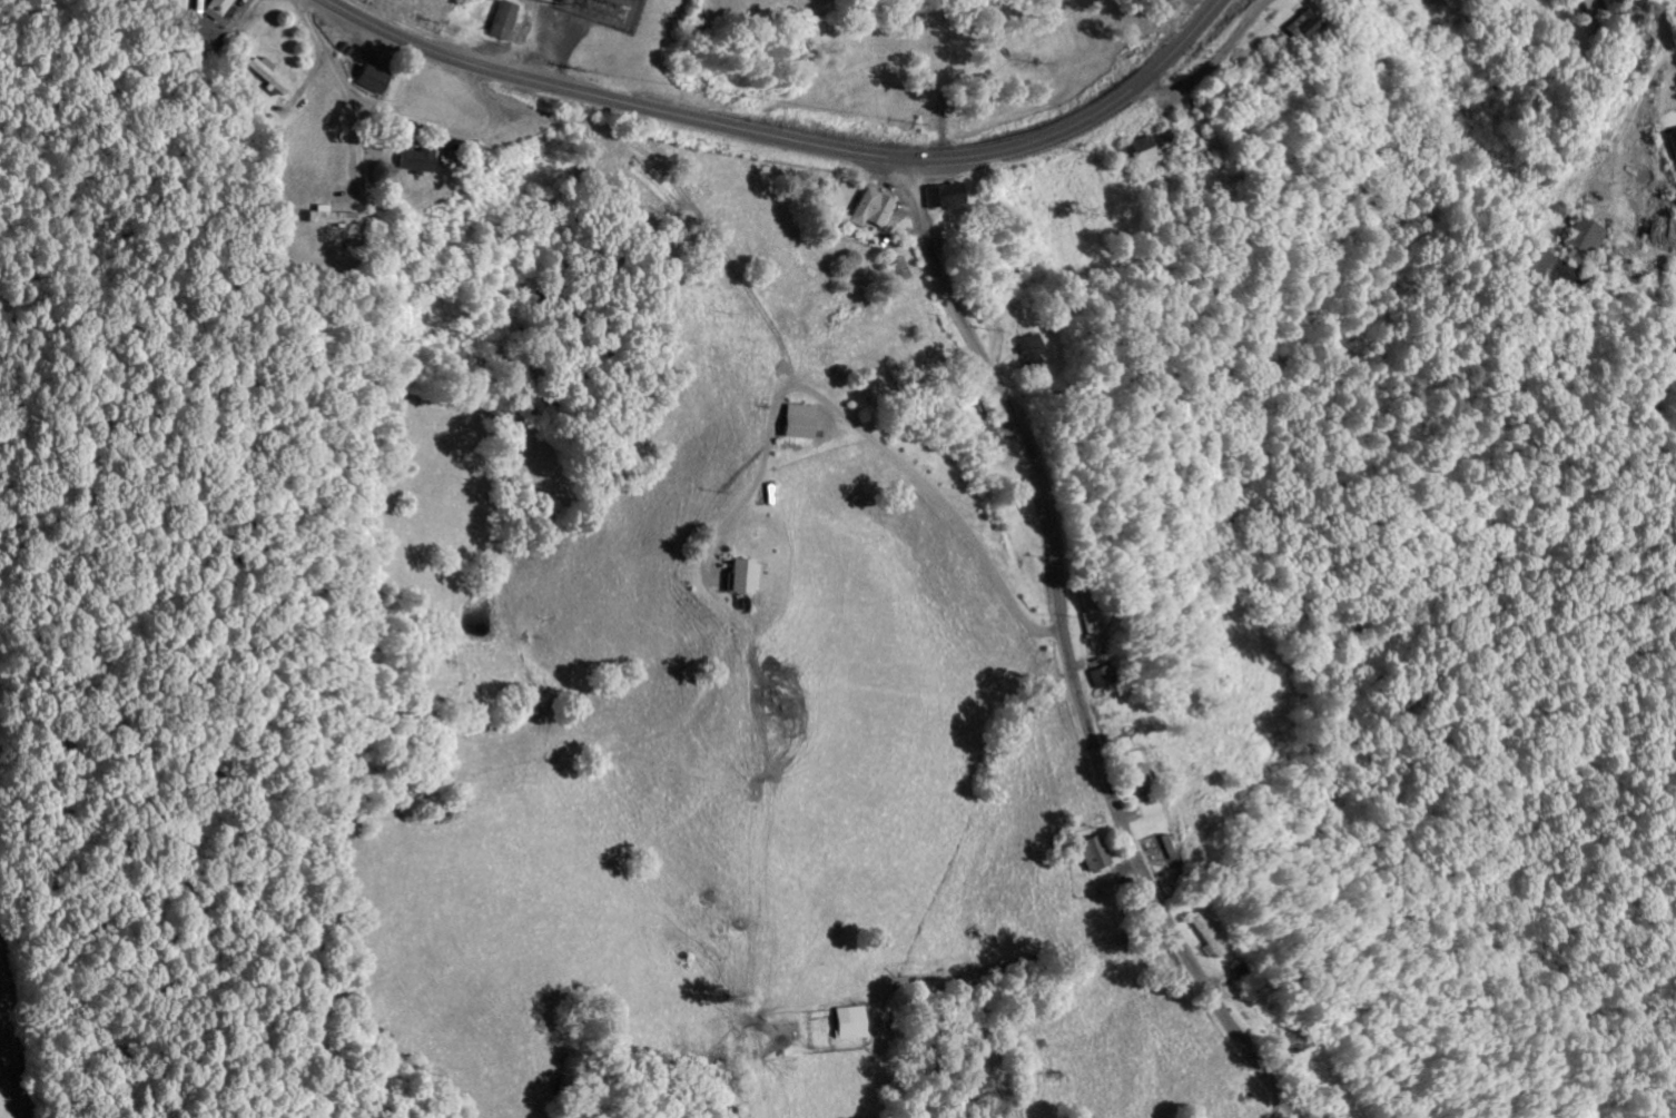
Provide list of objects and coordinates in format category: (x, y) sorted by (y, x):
building: (215, 8)
power substation: (599, 8)
building: (500, 24)
building: (1297, 29)
road: (1211, 62)
building: (262, 77)
building: (367, 82)
road: (789, 138)
building: (1142, 158)
building: (411, 164)
building: (938, 199)
building: (867, 212)
building: (326, 221)
building: (1579, 243)
building: (1544, 270)
building: (894, 273)
building: (1026, 355)
road: (856, 423)
building: (986, 438)
building: (739, 578)
building: (1085, 626)
road: (1066, 662)
building: (1094, 681)
building: (1128, 779)
building: (1090, 857)
building: (846, 1026)

